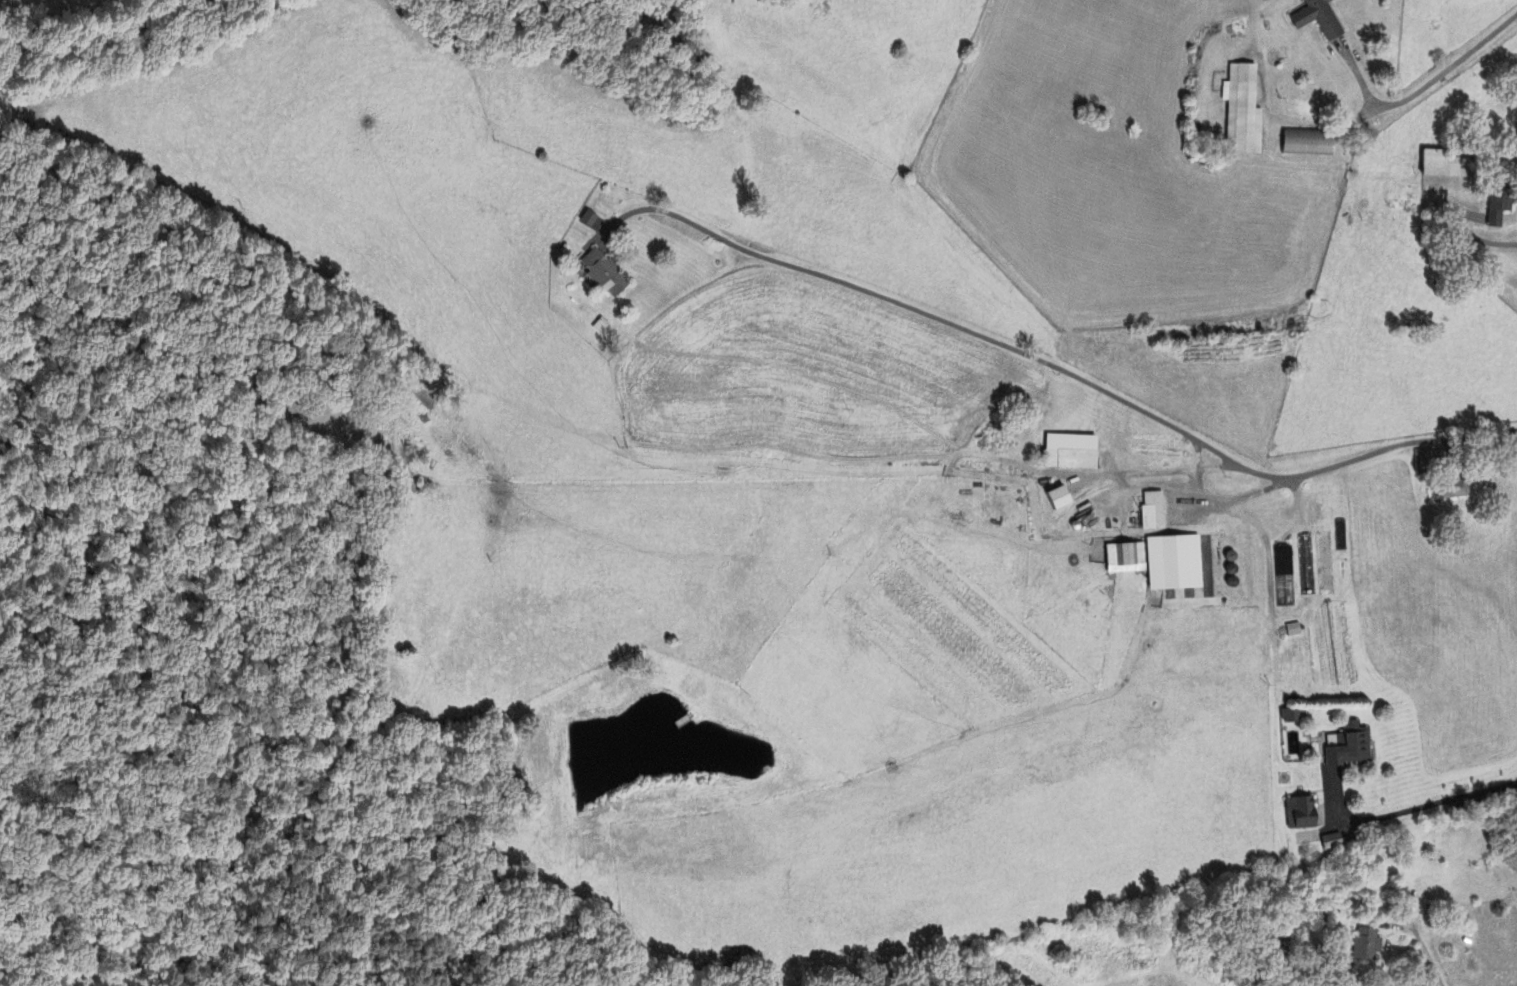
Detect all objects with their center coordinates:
building: (1315, 18)
road: (1424, 85)
building: (1239, 112)
building: (1303, 144)
building: (1438, 166)
building: (612, 274)
road: (1084, 383)
building: (1066, 453)
building: (1053, 499)
building: (1151, 513)
building: (1123, 559)
building: (1171, 564)
building: (1291, 631)
building: (1287, 717)
building: (1346, 747)
road: (1415, 809)
building: (1298, 815)
building: (1329, 843)
building: (1365, 946)
road: (1427, 957)

